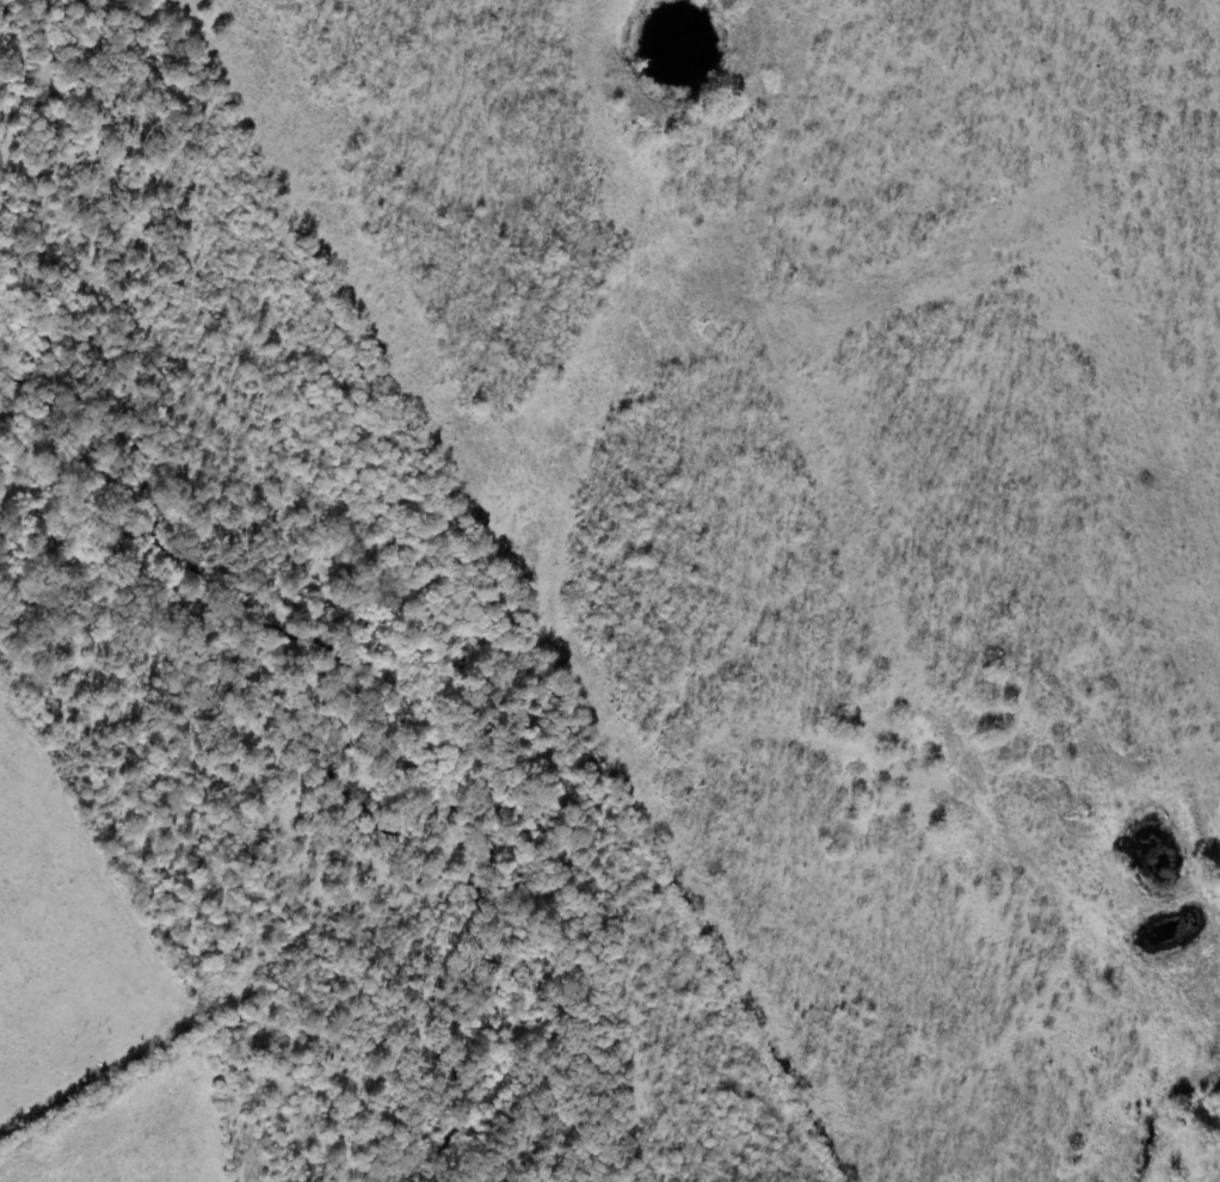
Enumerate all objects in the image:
road: (1054, 879)

